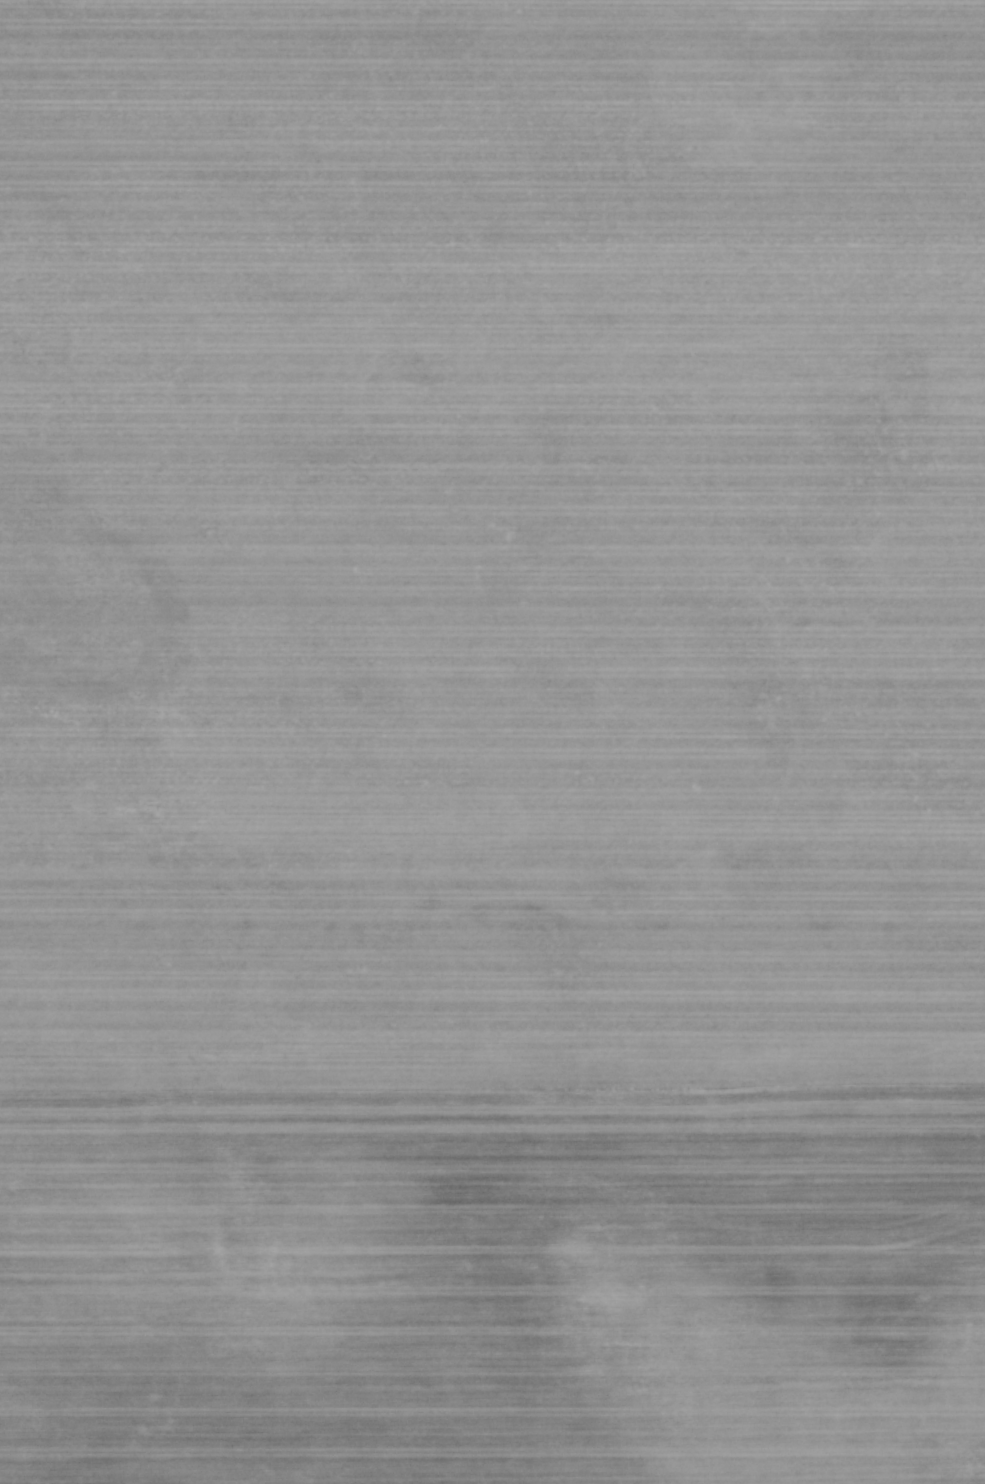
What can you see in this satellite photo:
crop: (492, 742)

